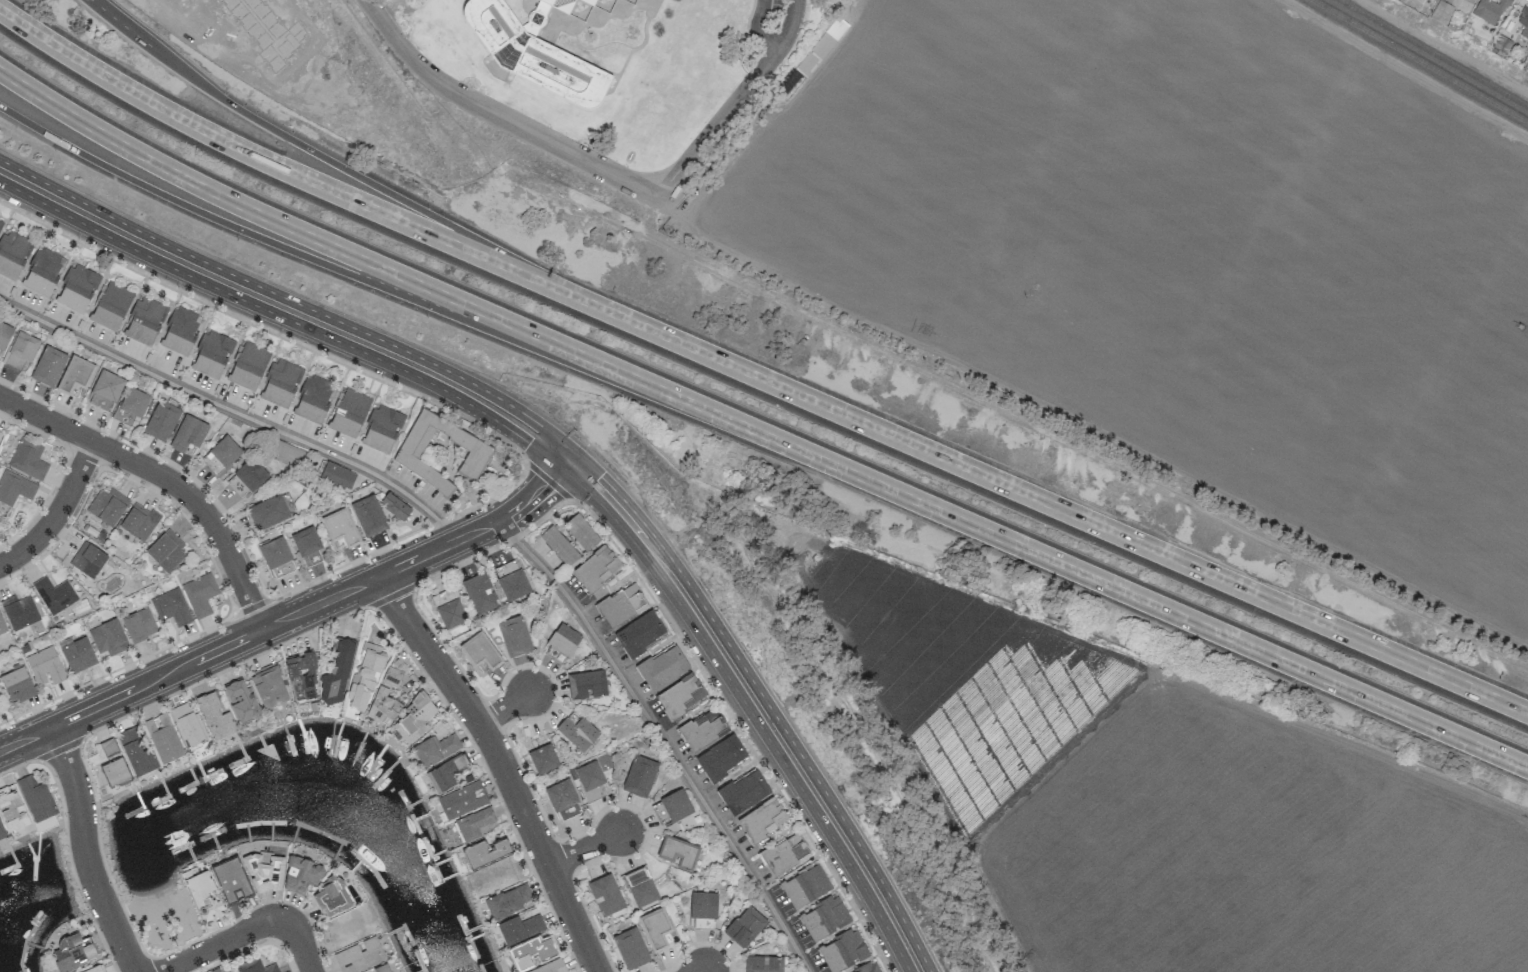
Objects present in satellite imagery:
building: (1471, 1)
building: (632, 2)
building: (1490, 10)
building: (1441, 12)
building: (1524, 21)
road: (758, 28)
building: (265, 30)
building: (822, 46)
building: (537, 50)
railway: (1433, 53)
railway: (1420, 61)
road: (735, 102)
road: (498, 115)
road: (313, 151)
road: (266, 161)
building: (0, 223)
road: (245, 231)
building: (13, 254)
crop: (1172, 263)
building: (44, 271)
building: (77, 288)
building: (19, 293)
building: (111, 306)
road: (288, 314)
building: (144, 322)
building: (181, 331)
building: (4, 336)
building: (21, 350)
building: (212, 354)
building: (48, 366)
building: (249, 366)
building: (75, 375)
building: (281, 383)
building: (106, 388)
building: (314, 398)
building: (131, 406)
road: (235, 410)
building: (349, 413)
building: (161, 421)
building: (382, 429)
road: (757, 432)
building: (189, 433)
building: (0, 434)
building: (225, 451)
building: (408, 456)
building: (28, 459)
traffic signals: (572, 461)
building: (337, 476)
road: (164, 478)
building: (247, 478)
building: (15, 488)
road: (1037, 500)
building: (395, 506)
building: (269, 512)
road: (60, 516)
building: (369, 516)
building: (139, 522)
building: (341, 528)
road: (481, 529)
building: (581, 532)
building: (308, 546)
building: (559, 546)
building: (166, 551)
building: (276, 557)
building: (88, 559)
building: (596, 568)
building: (511, 580)
building: (54, 594)
building: (200, 594)
building: (480, 594)
building: (622, 605)
building: (171, 607)
building: (449, 608)
building: (19, 611)
building: (139, 625)
building: (2, 626)
building: (640, 633)
building: (514, 636)
building: (108, 637)
building: (561, 644)
building: (480, 651)
building: (77, 654)
road: (188, 663)
building: (45, 666)
building: (663, 667)
building: (338, 673)
building: (366, 674)
building: (302, 677)
building: (17, 684)
building: (587, 685)
building: (269, 687)
building: (381, 693)
building: (681, 695)
building: (241, 701)
building: (0, 702)
road: (759, 706)
road: (507, 709)
building: (215, 716)
building: (415, 718)
building: (187, 724)
building: (578, 733)
road: (664, 739)
building: (164, 743)
building: (435, 749)
building: (136, 752)
building: (542, 754)
building: (721, 758)
road: (505, 765)
building: (115, 772)
building: (445, 773)
building: (639, 776)
building: (590, 780)
building: (743, 792)
building: (561, 795)
building: (462, 800)
building: (37, 802)
crop: (1179, 802)
building: (672, 807)
building: (11, 809)
building: (763, 819)
building: (474, 823)
building: (2, 831)
road: (588, 849)
road: (88, 851)
building: (485, 852)
building: (678, 853)
building: (785, 854)
building: (266, 872)
building: (301, 875)
building: (232, 879)
building: (805, 886)
building: (640, 887)
building: (203, 895)
building: (606, 895)
building: (332, 897)
building: (509, 901)
building: (703, 905)
building: (824, 918)
building: (746, 926)
building: (520, 928)
building: (656, 929)
road: (254, 930)
building: (631, 948)
building: (843, 950)
building: (532, 952)
building: (72, 953)
building: (359, 955)
building: (764, 964)
building: (256, 966)
building: (551, 967)
building: (382, 968)
building: (868, 968)
building: (94, 969)

